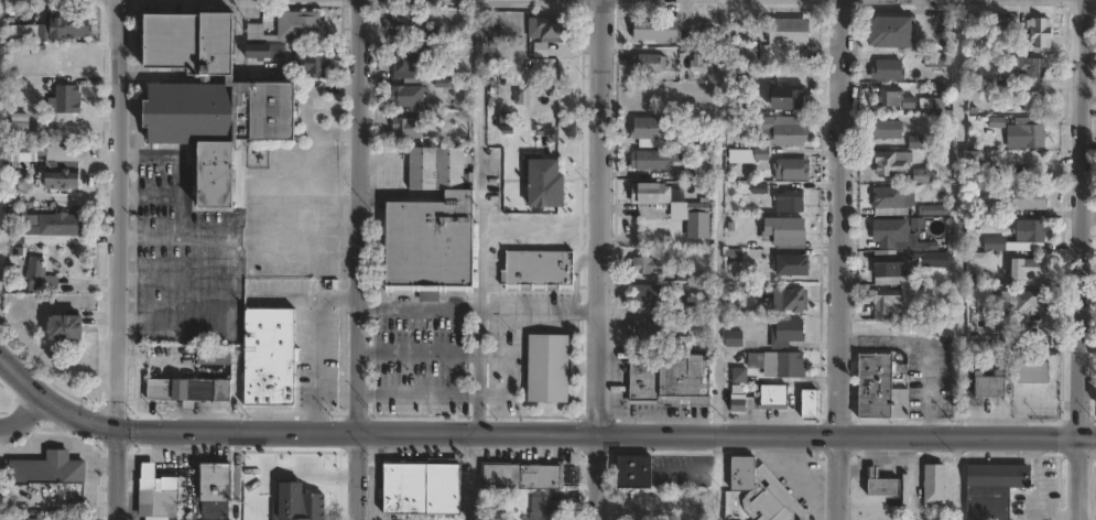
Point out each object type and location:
building: (297, 24)
building: (550, 25)
building: (412, 28)
building: (56, 29)
building: (659, 29)
building: (791, 31)
building: (890, 31)
building: (705, 32)
building: (1038, 32)
building: (189, 42)
building: (267, 51)
building: (747, 51)
building: (933, 61)
building: (651, 63)
building: (313, 64)
building: (1029, 66)
building: (886, 69)
building: (410, 80)
building: (791, 96)
building: (892, 98)
building: (66, 99)
building: (1029, 100)
building: (931, 104)
building: (18, 120)
building: (217, 124)
building: (409, 128)
building: (883, 130)
building: (783, 131)
building: (651, 132)
building: (1028, 133)
building: (978, 159)
building: (653, 160)
building: (890, 162)
road: (183, 163)
building: (793, 170)
building: (921, 175)
building: (66, 180)
building: (546, 181)
building: (653, 194)
building: (1027, 199)
building: (890, 201)
building: (792, 202)
road: (250, 208)
building: (933, 209)
road: (718, 215)
road: (479, 216)
road: (1086, 217)
building: (53, 225)
building: (432, 225)
building: (1028, 230)
building: (788, 231)
building: (889, 231)
parking lot: (226, 239)
building: (992, 243)
building: (931, 246)
road: (604, 259)
building: (934, 259)
road: (120, 260)
road: (357, 260)
road: (839, 260)
building: (648, 266)
building: (794, 266)
building: (536, 269)
building: (888, 271)
building: (1023, 271)
building: (36, 273)
building: (652, 296)
building: (795, 300)
building: (1020, 301)
building: (882, 304)
road: (541, 312)
road: (216, 318)
building: (67, 327)
building: (647, 329)
building: (789, 333)
building: (736, 335)
building: (1000, 340)
road: (920, 350)
building: (215, 357)
building: (268, 358)
building: (780, 364)
building: (547, 368)
building: (1029, 372)
building: (737, 373)
road: (22, 378)
building: (672, 381)
building: (987, 387)
building: (191, 389)
building: (879, 389)
building: (1095, 394)
building: (777, 397)
building: (737, 402)
building: (813, 403)
road: (23, 414)
traffic signals: (118, 429)
road: (562, 432)
road: (1090, 435)
building: (326, 468)
building: (48, 469)
building: (632, 470)
building: (150, 475)
road: (475, 476)
building: (521, 476)
road: (955, 477)
road: (1084, 477)
building: (218, 483)
building: (171, 485)
building: (879, 486)
building: (932, 486)
building: (990, 488)
building: (423, 489)
building: (752, 490)
building: (780, 491)
building: (543, 508)
road: (693, 511)
building: (36, 519)

